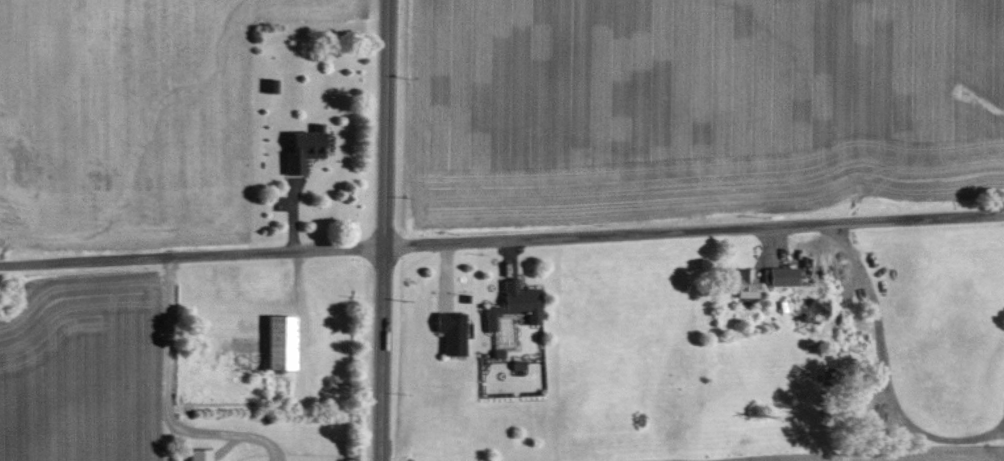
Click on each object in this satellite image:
building: (305, 149)
road: (385, 230)
road: (502, 240)
building: (782, 277)
building: (745, 285)
building: (522, 301)
building: (817, 310)
building: (452, 333)
building: (281, 343)
road: (170, 401)
building: (200, 455)

